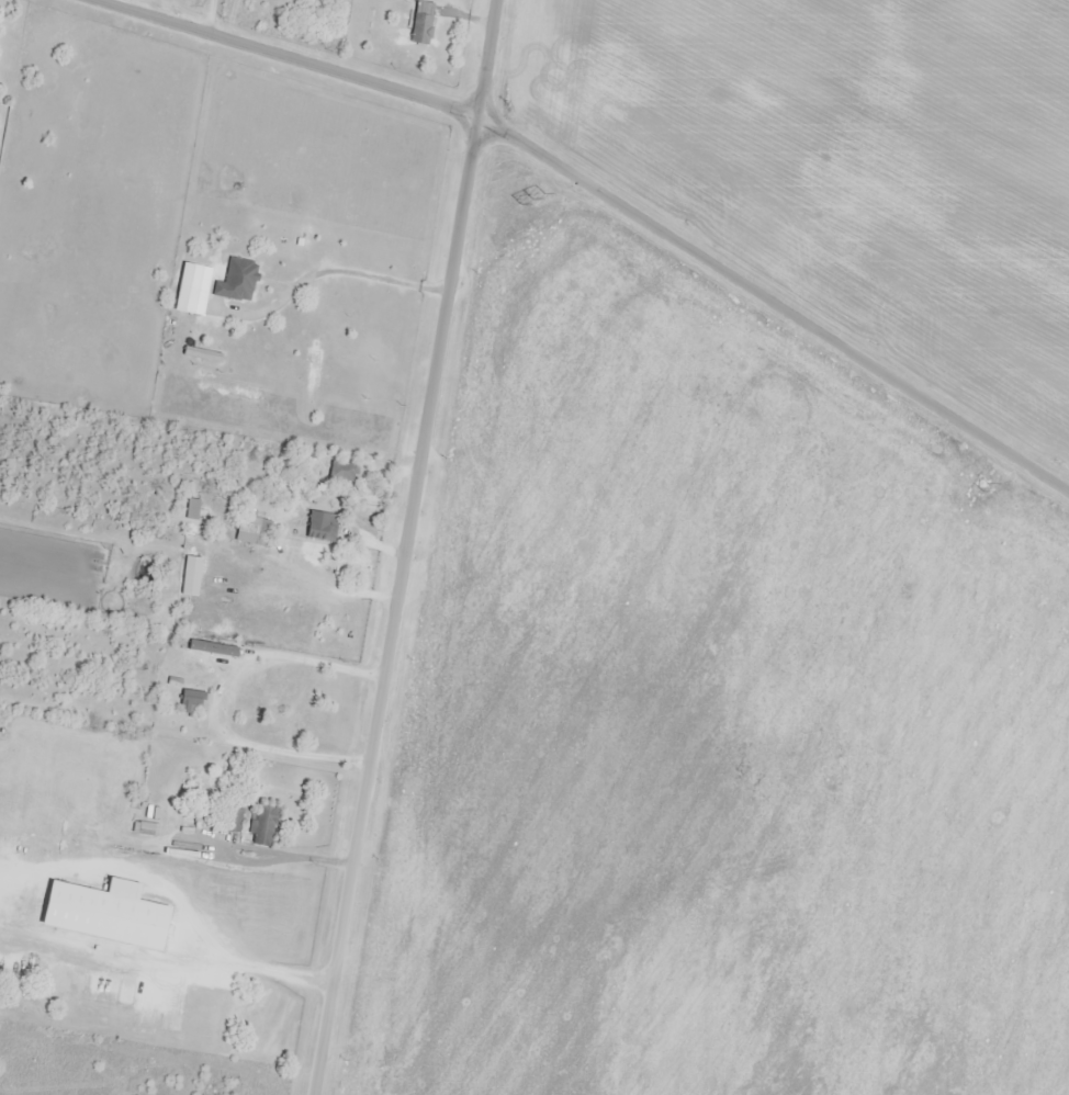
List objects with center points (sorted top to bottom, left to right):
building: (423, 23)
road: (592, 193)
power tower: (530, 199)
road: (323, 272)
building: (237, 282)
power tower: (982, 487)
building: (193, 510)
building: (323, 528)
building: (254, 532)
road: (402, 547)
building: (192, 704)
building: (114, 917)
building: (53, 980)

